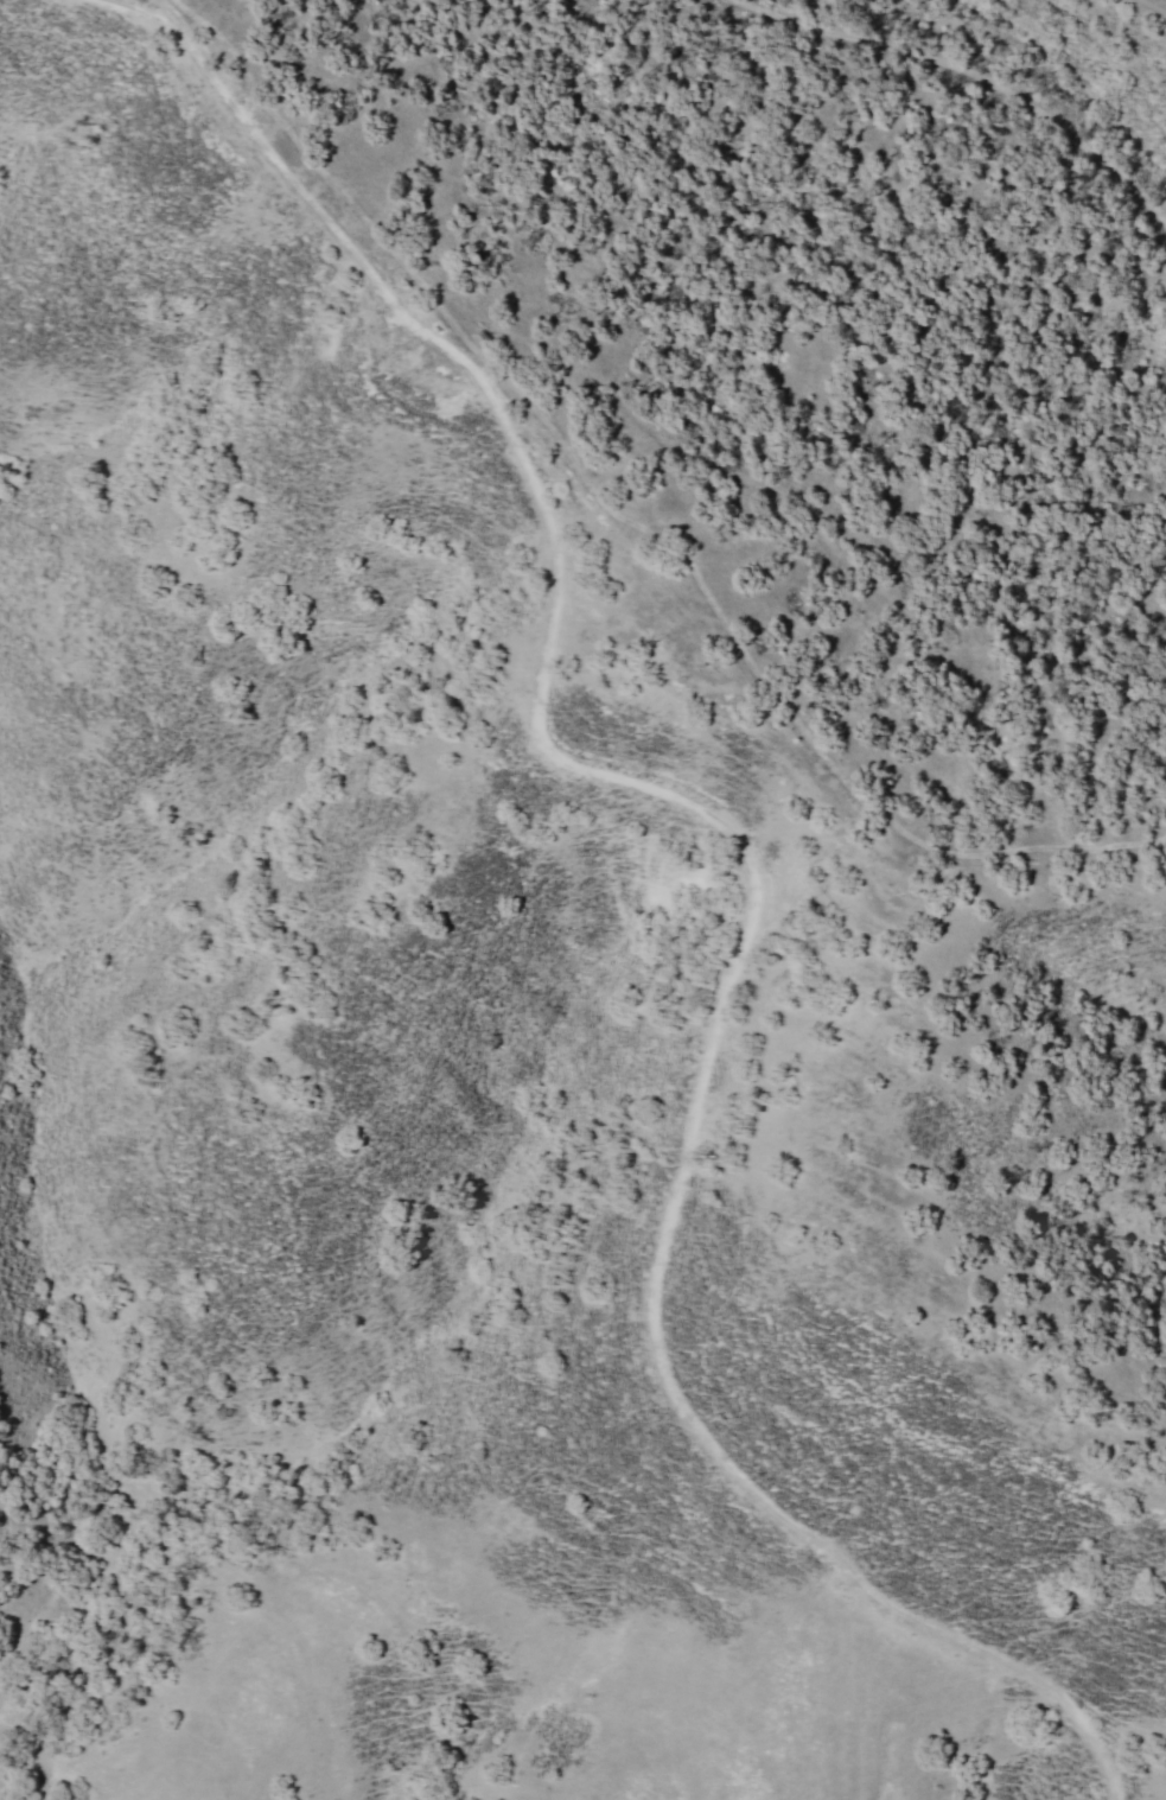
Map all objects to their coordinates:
road: (745, 851)

